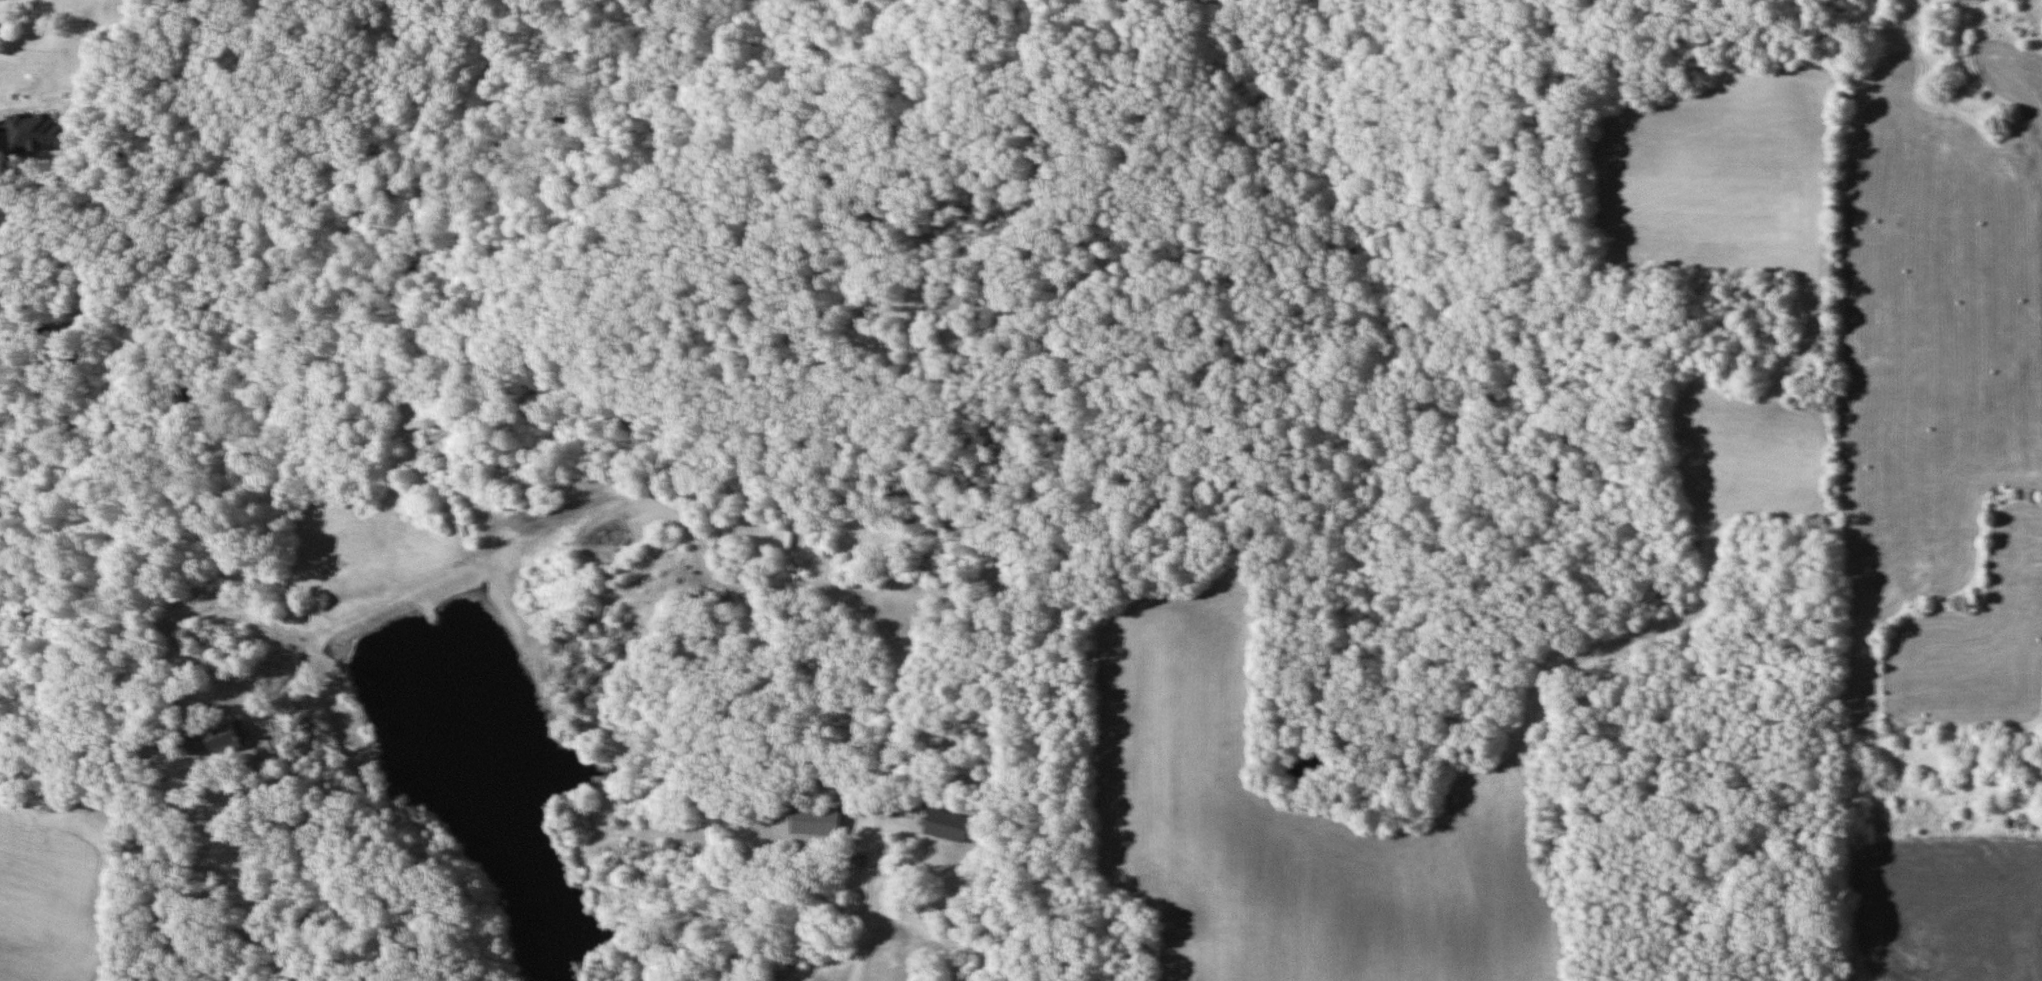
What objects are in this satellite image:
building: (38, 131)
road: (894, 699)
building: (221, 739)
building: (190, 744)
road: (196, 781)
building: (819, 821)
building: (950, 825)
road: (867, 923)
road: (286, 931)

